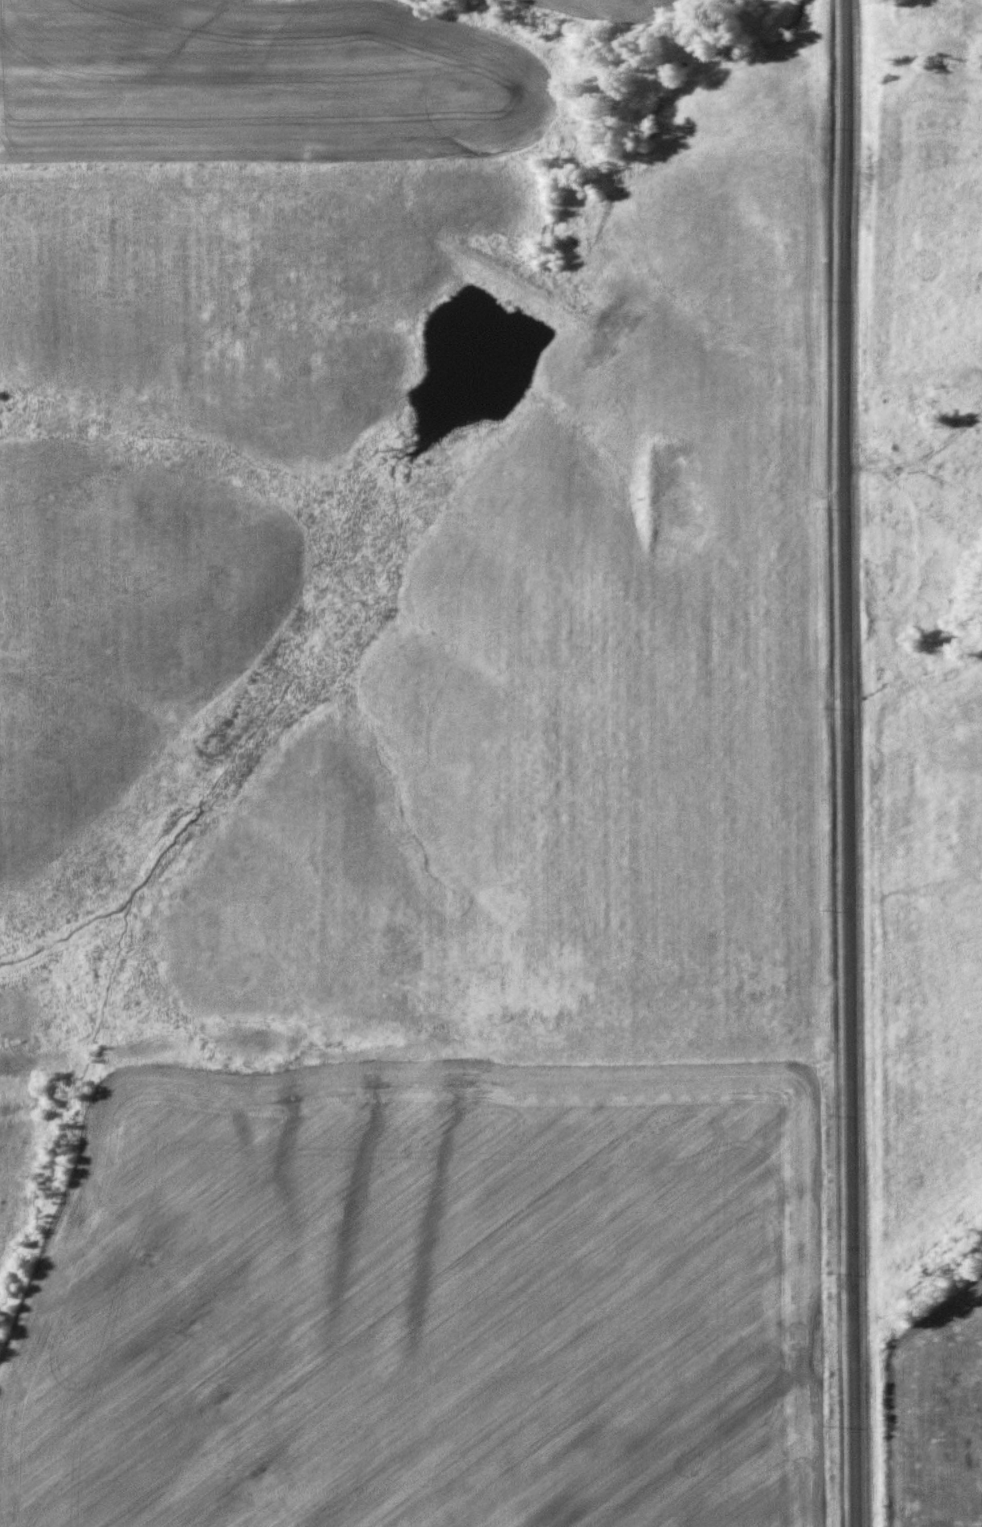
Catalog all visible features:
road: (851, 763)

